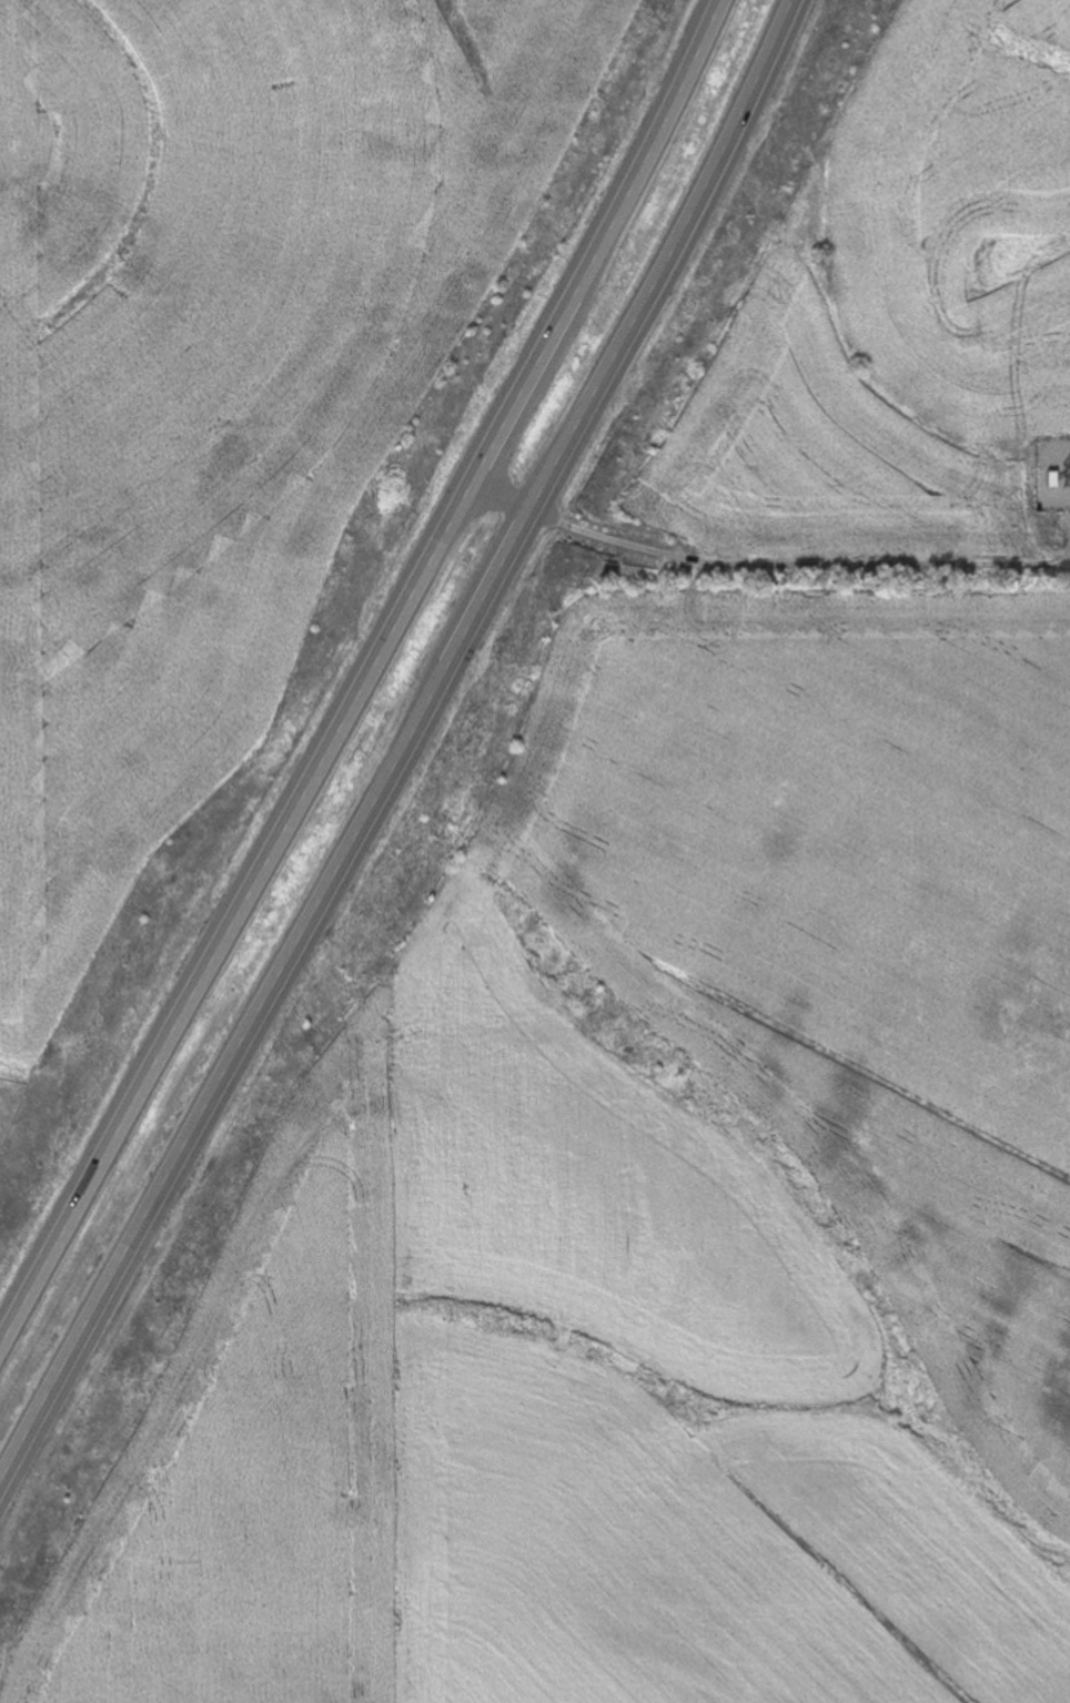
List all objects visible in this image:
road: (603, 245)
road: (667, 257)
road: (566, 525)
road: (236, 915)
road: (263, 1004)

